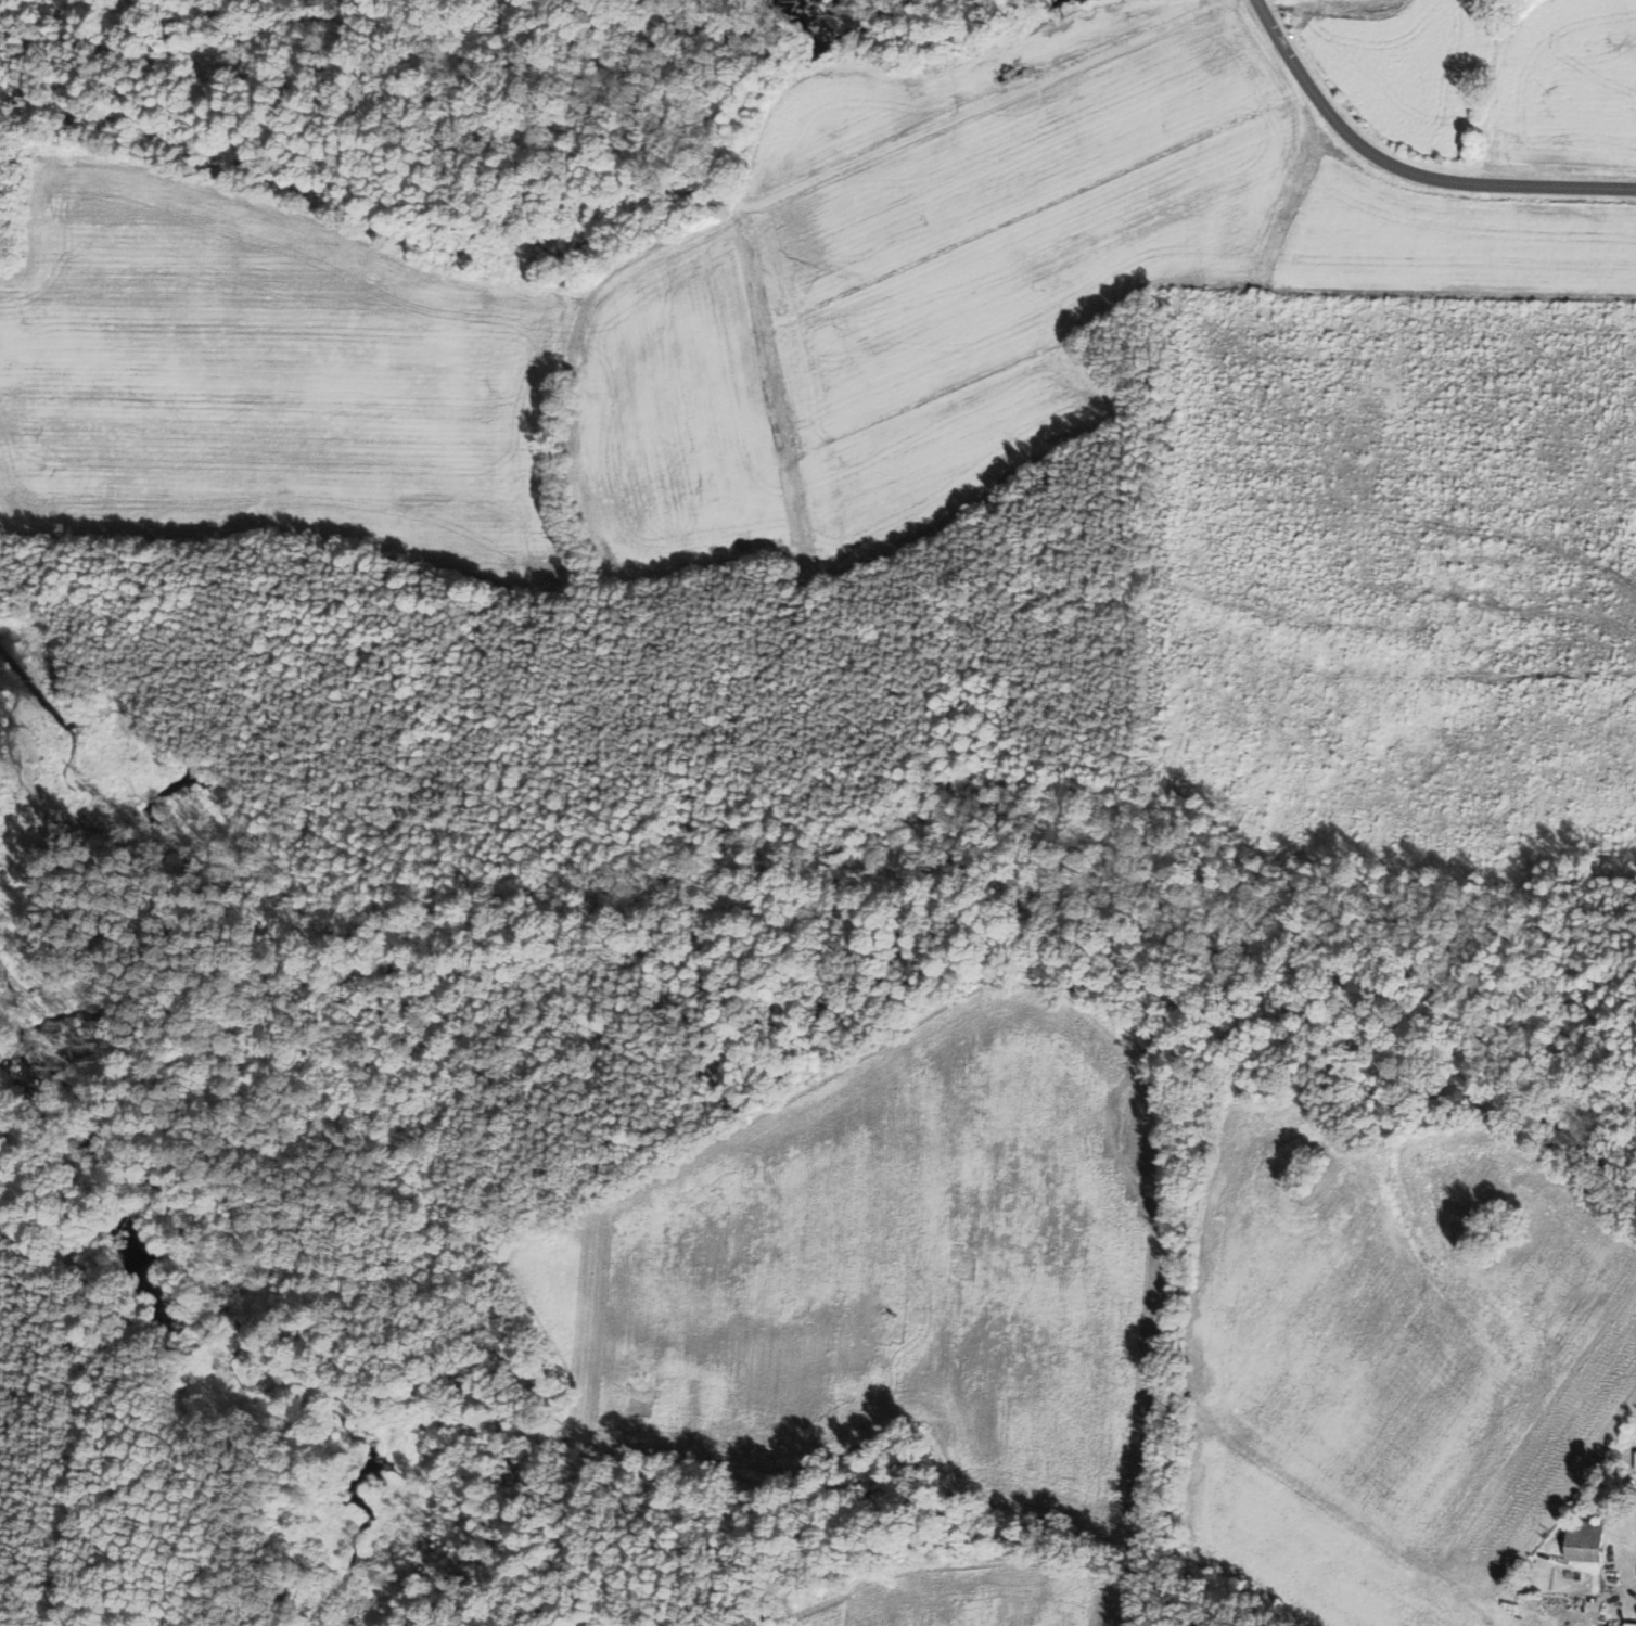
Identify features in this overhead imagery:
road: (1403, 172)
building: (1589, 1540)
building: (1631, 1624)

